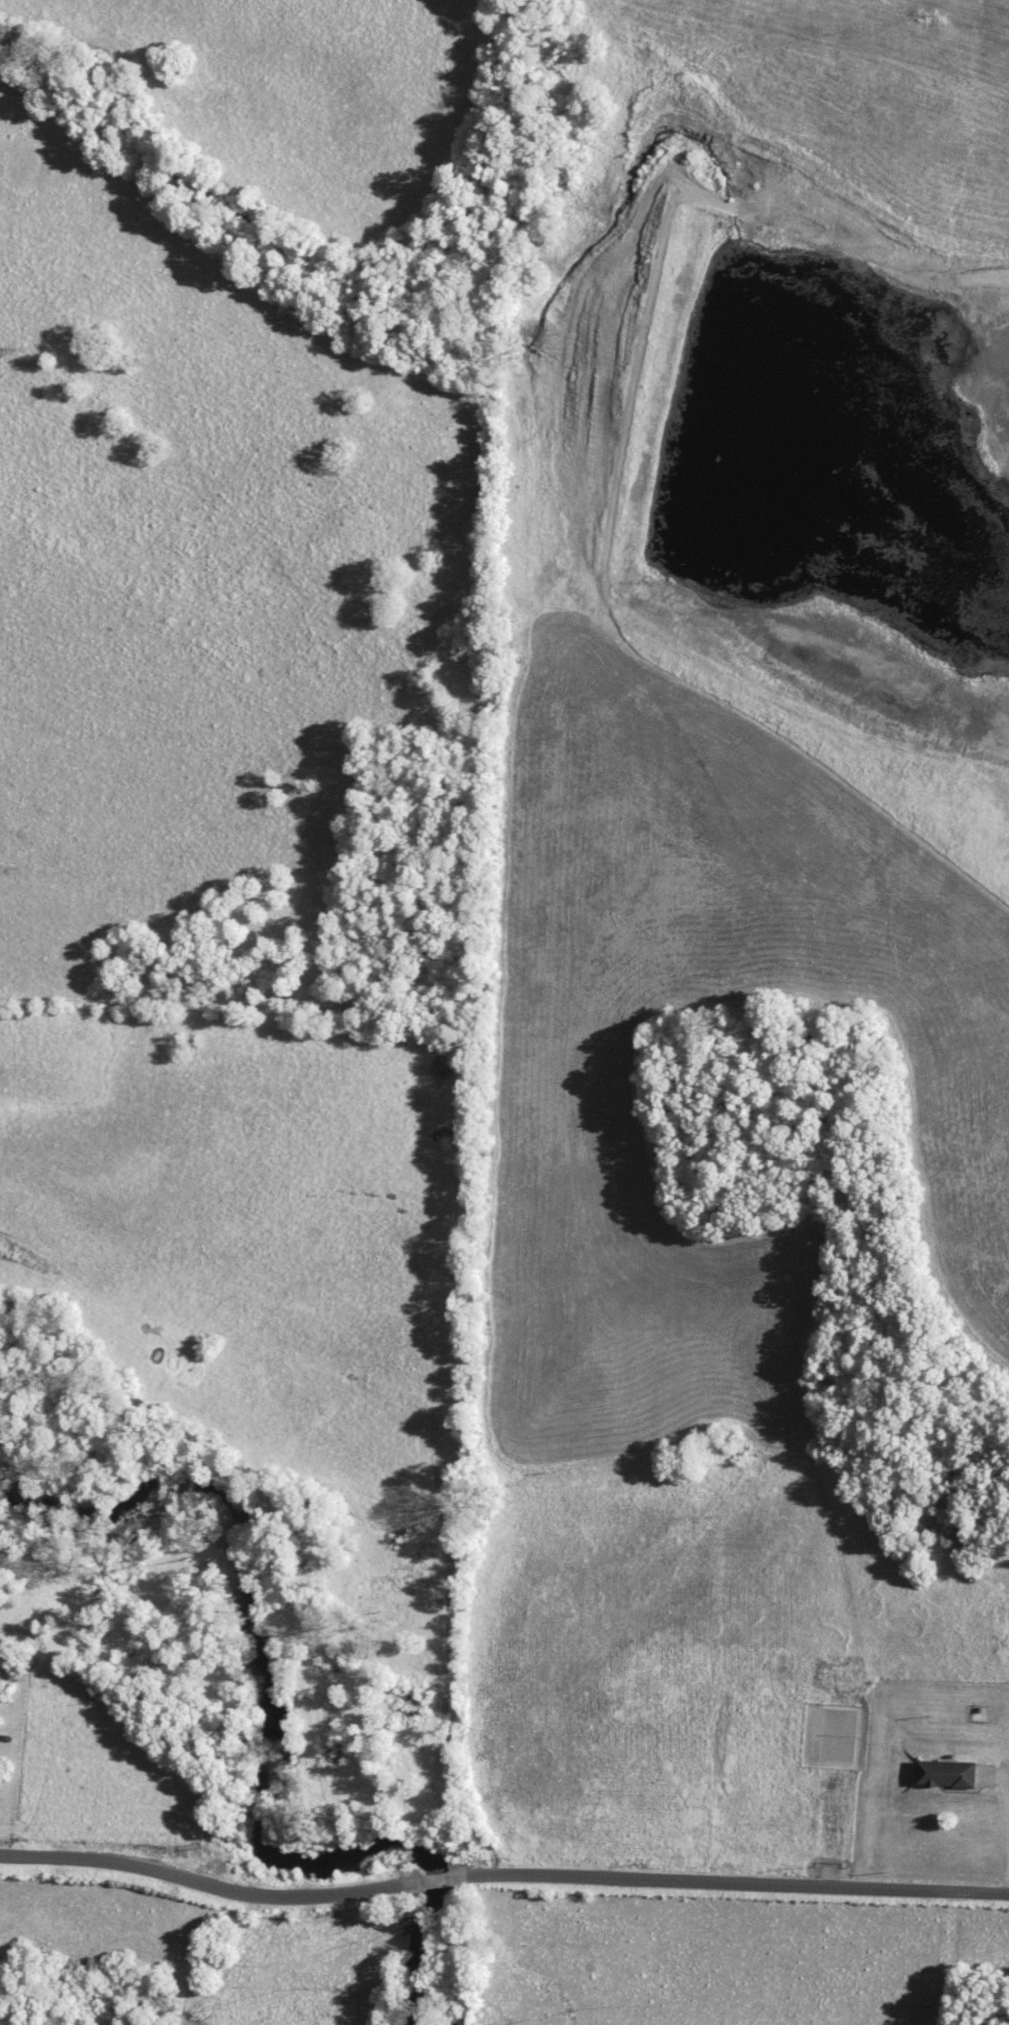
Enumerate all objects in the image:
building: (951, 1775)
road: (993, 1776)
road: (501, 1876)

